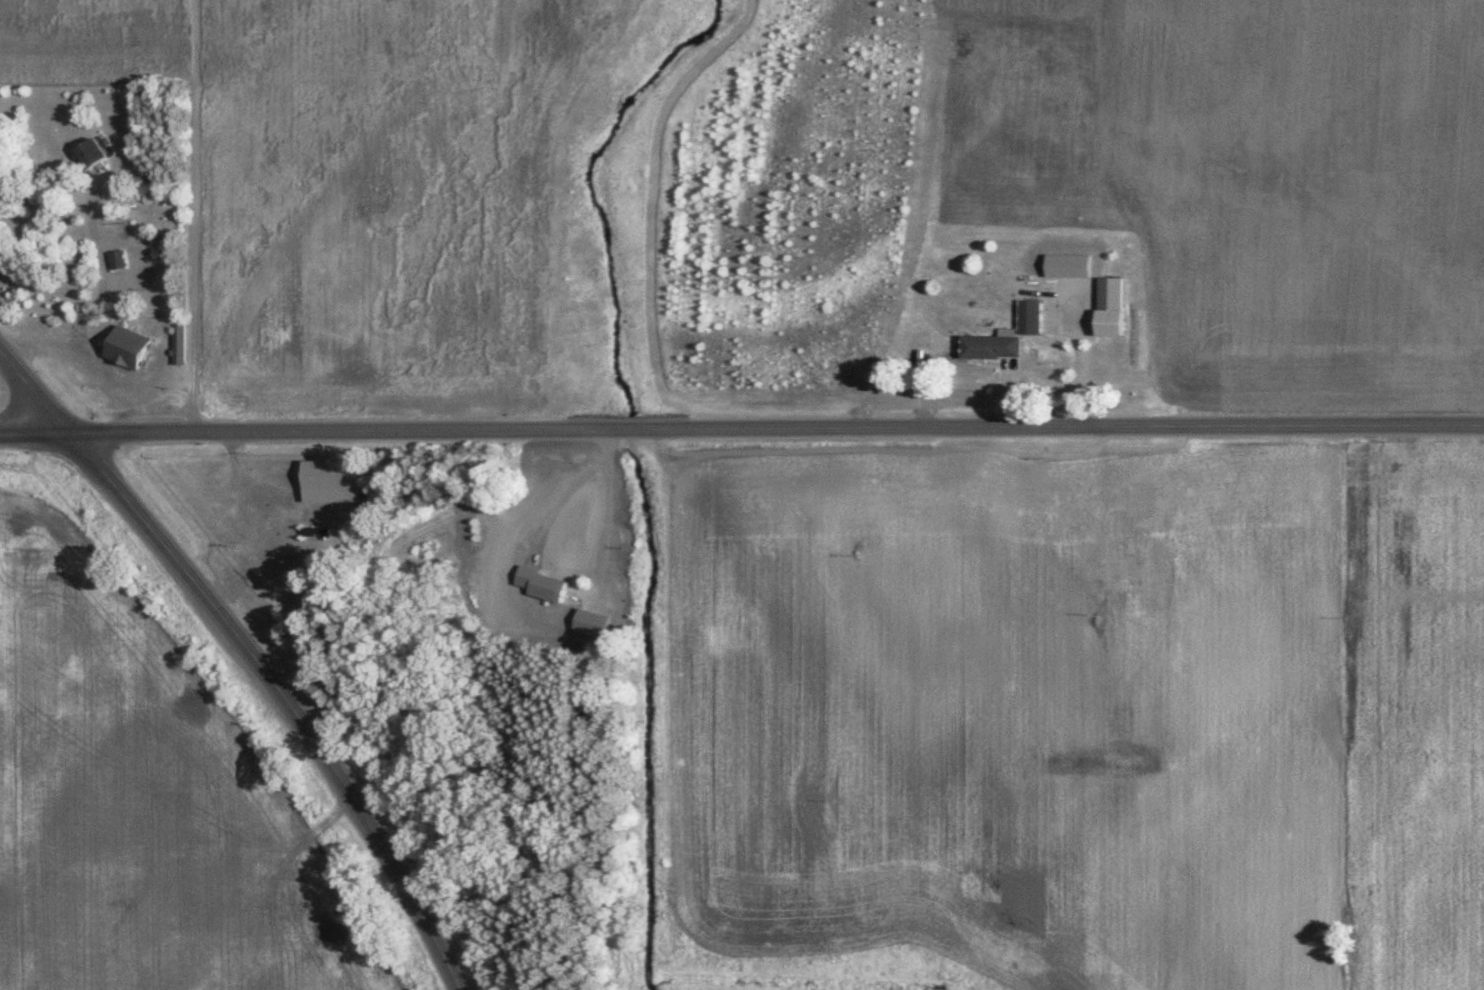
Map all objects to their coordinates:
building: (87, 150)
building: (115, 258)
building: (1109, 305)
building: (1029, 315)
building: (123, 345)
building: (990, 345)
road: (778, 430)
road: (37, 434)
building: (547, 586)
road: (250, 655)

